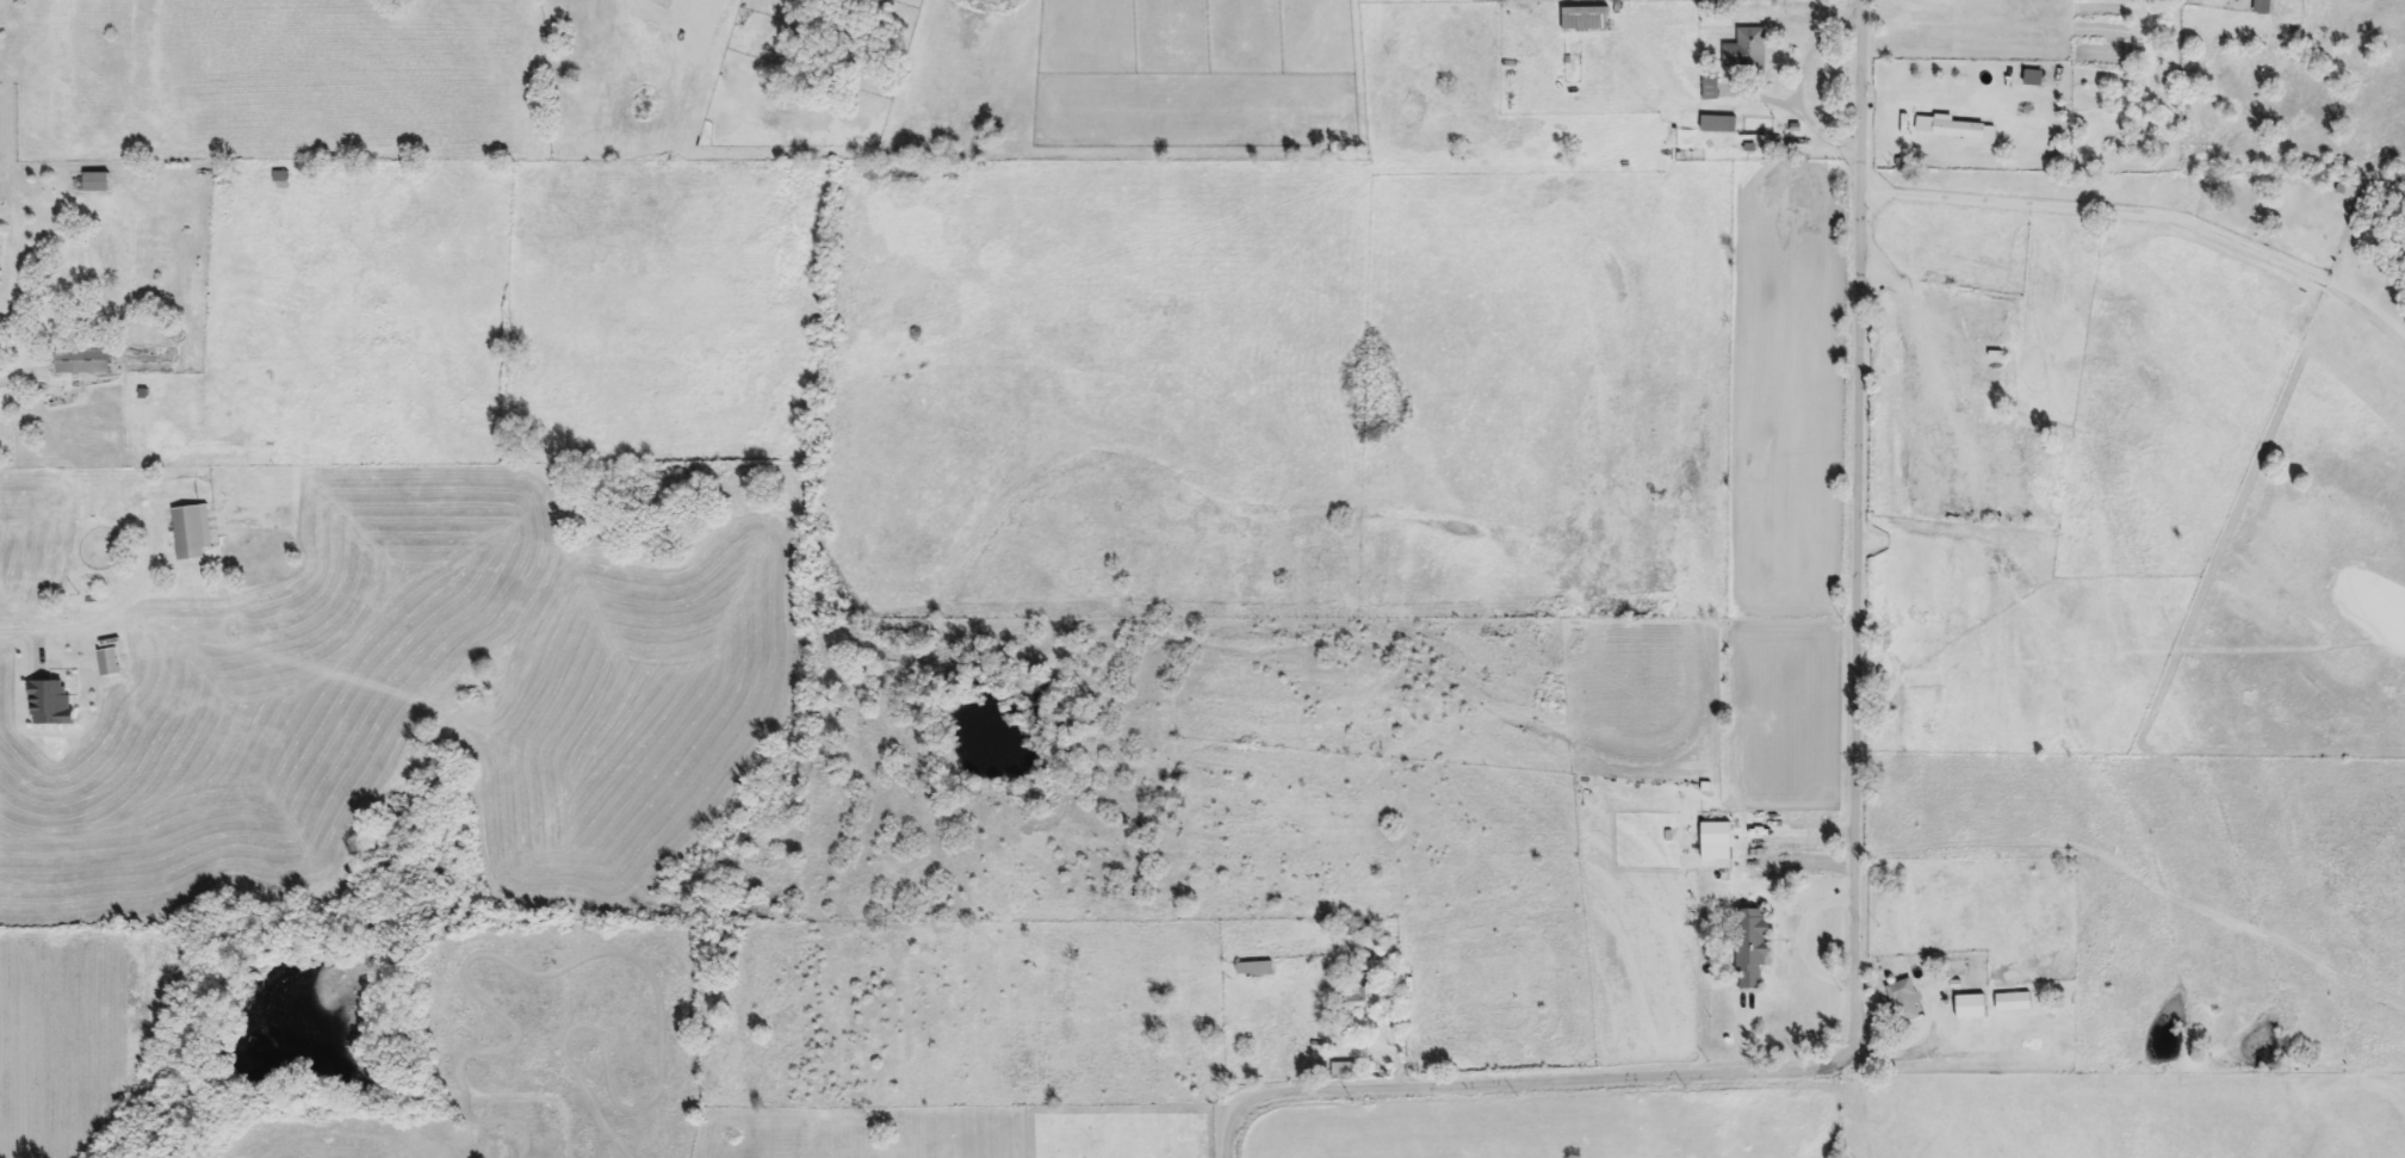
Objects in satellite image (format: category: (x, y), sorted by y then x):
building: (1586, 21)
road: (1812, 49)
building: (1746, 52)
building: (2035, 79)
building: (1710, 88)
road: (1805, 116)
building: (1719, 125)
building: (1953, 130)
building: (280, 178)
building: (98, 184)
road: (2130, 208)
building: (86, 363)
building: (193, 533)
road: (93, 621)
building: (110, 663)
road: (1853, 867)
building: (1347, 931)
road: (1798, 937)
building: (1752, 949)
building: (1254, 970)
building: (1363, 1001)
building: (1905, 1002)
building: (1973, 1007)
road: (1744, 1038)
road: (1890, 1057)
building: (1347, 1072)

